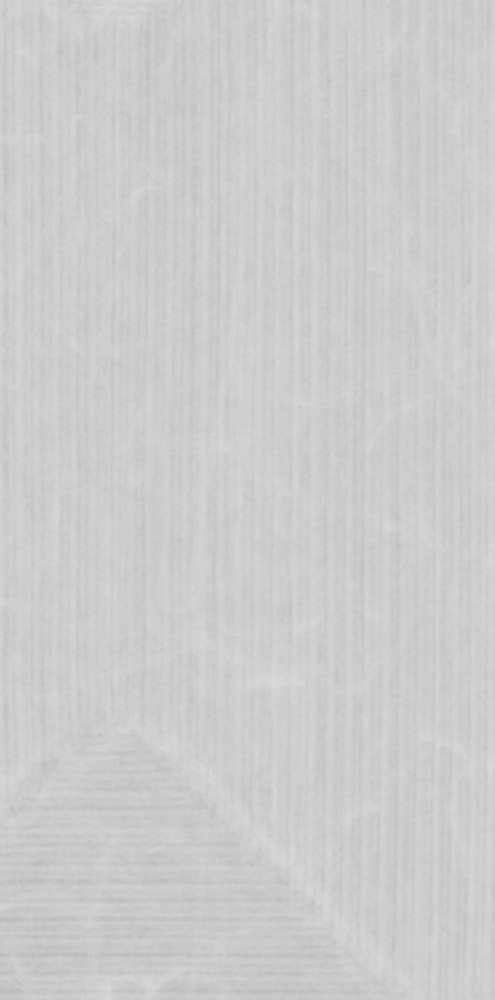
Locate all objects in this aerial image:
crop: (247, 500)

